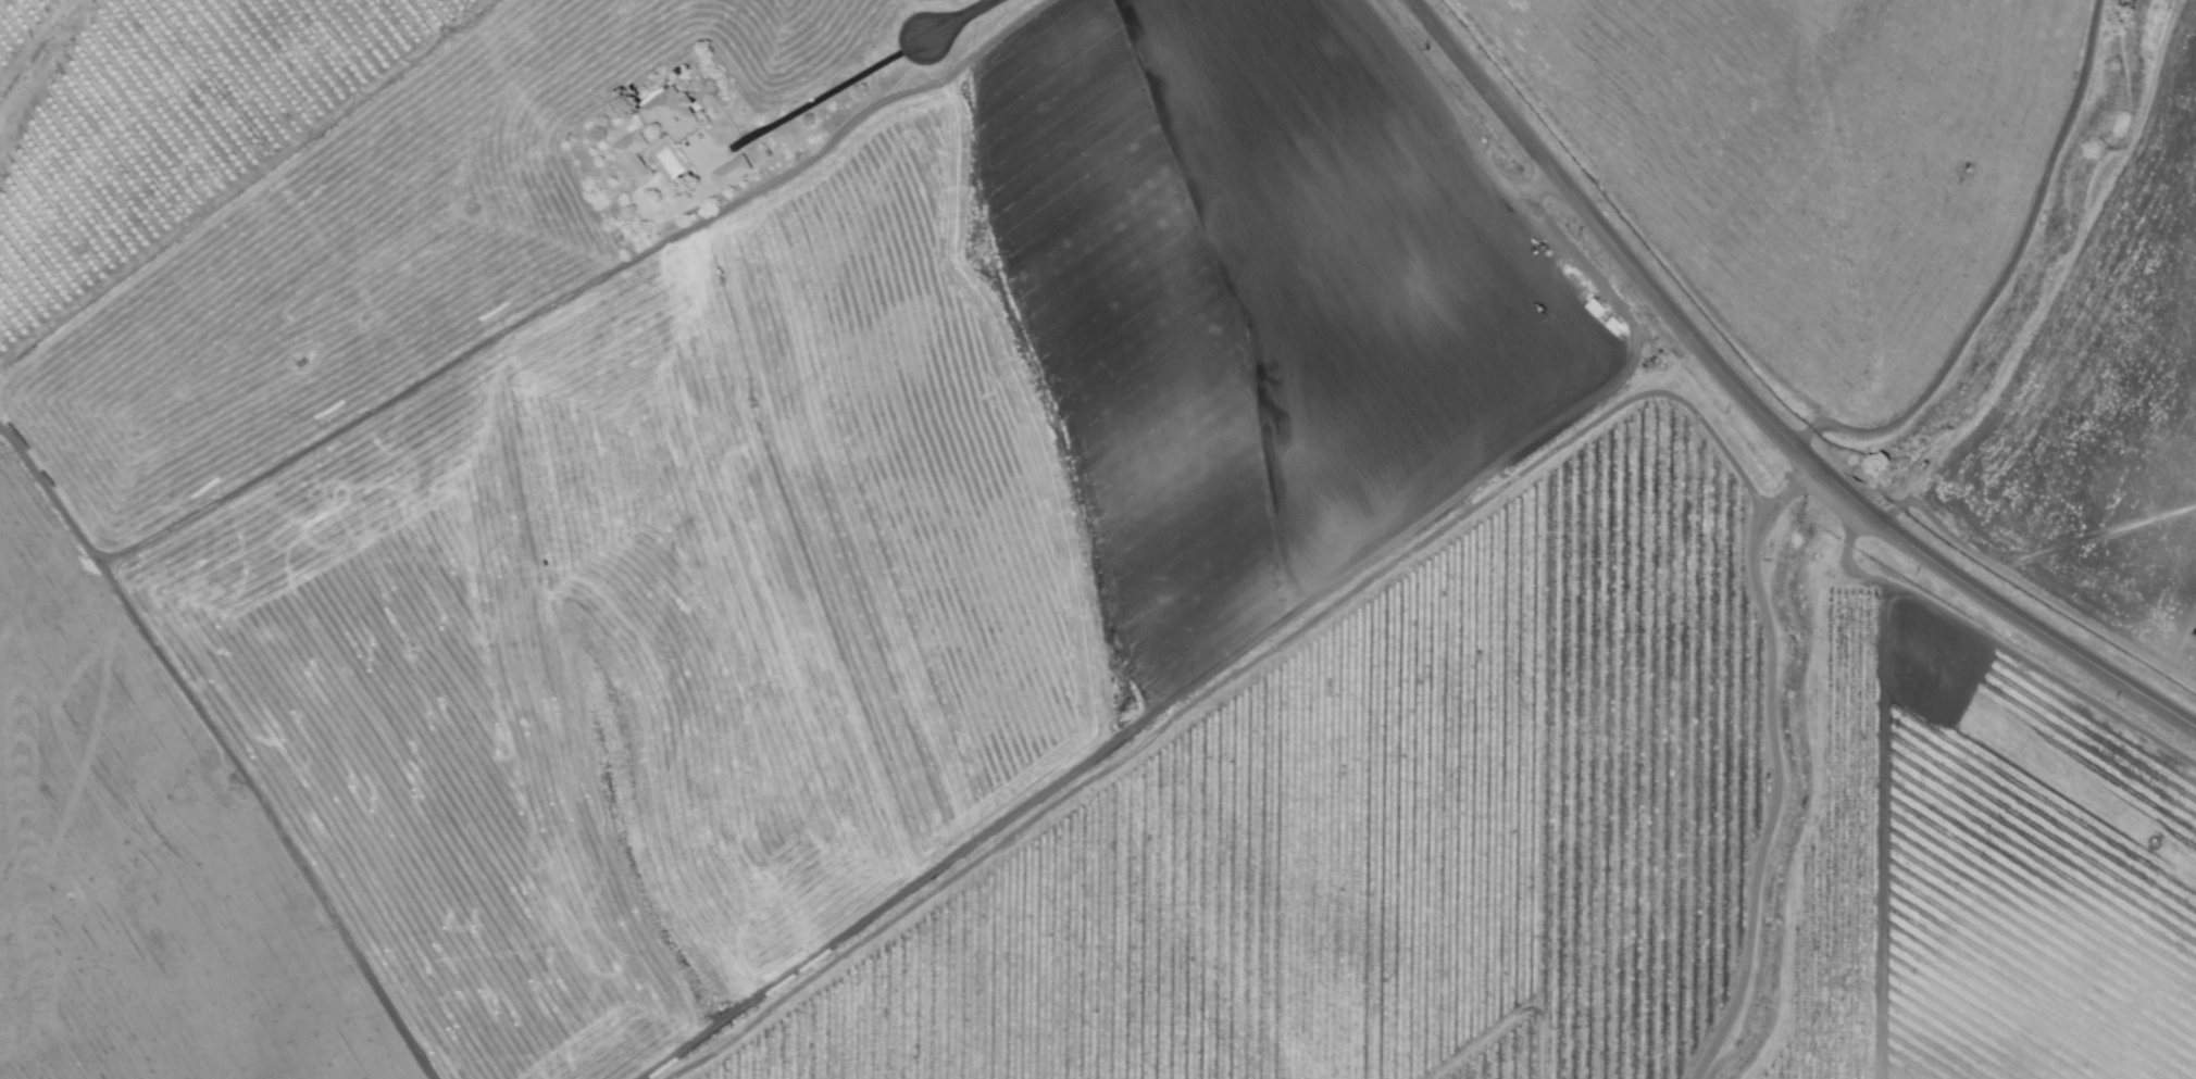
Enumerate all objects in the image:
crop: (18, 23)
road: (851, 83)
building: (672, 113)
crop: (176, 126)
building: (636, 160)
building: (734, 175)
road: (1754, 413)
crop: (704, 514)

